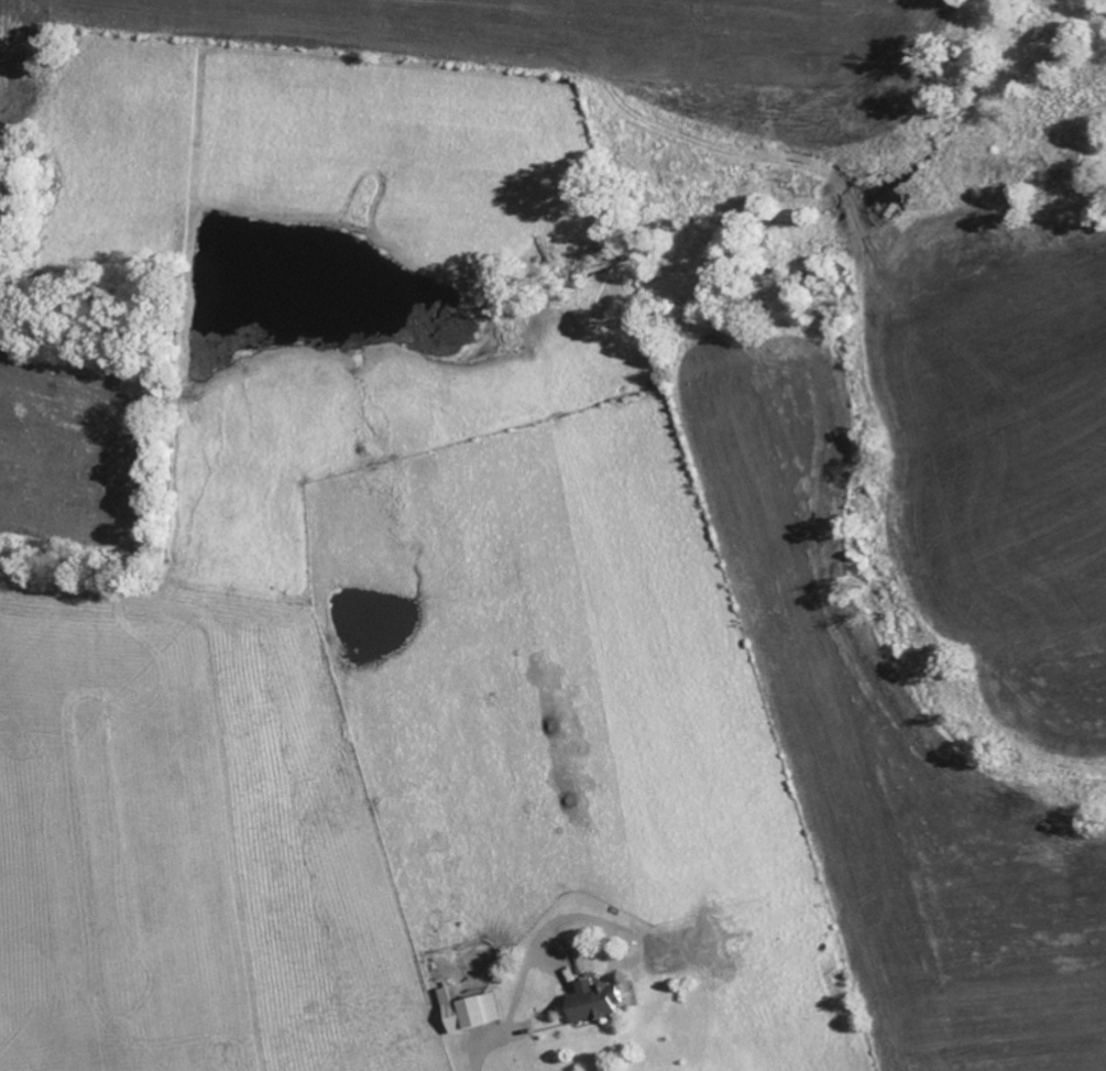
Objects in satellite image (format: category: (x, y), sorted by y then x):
building: (603, 1001)
building: (477, 1010)
road: (490, 1042)

